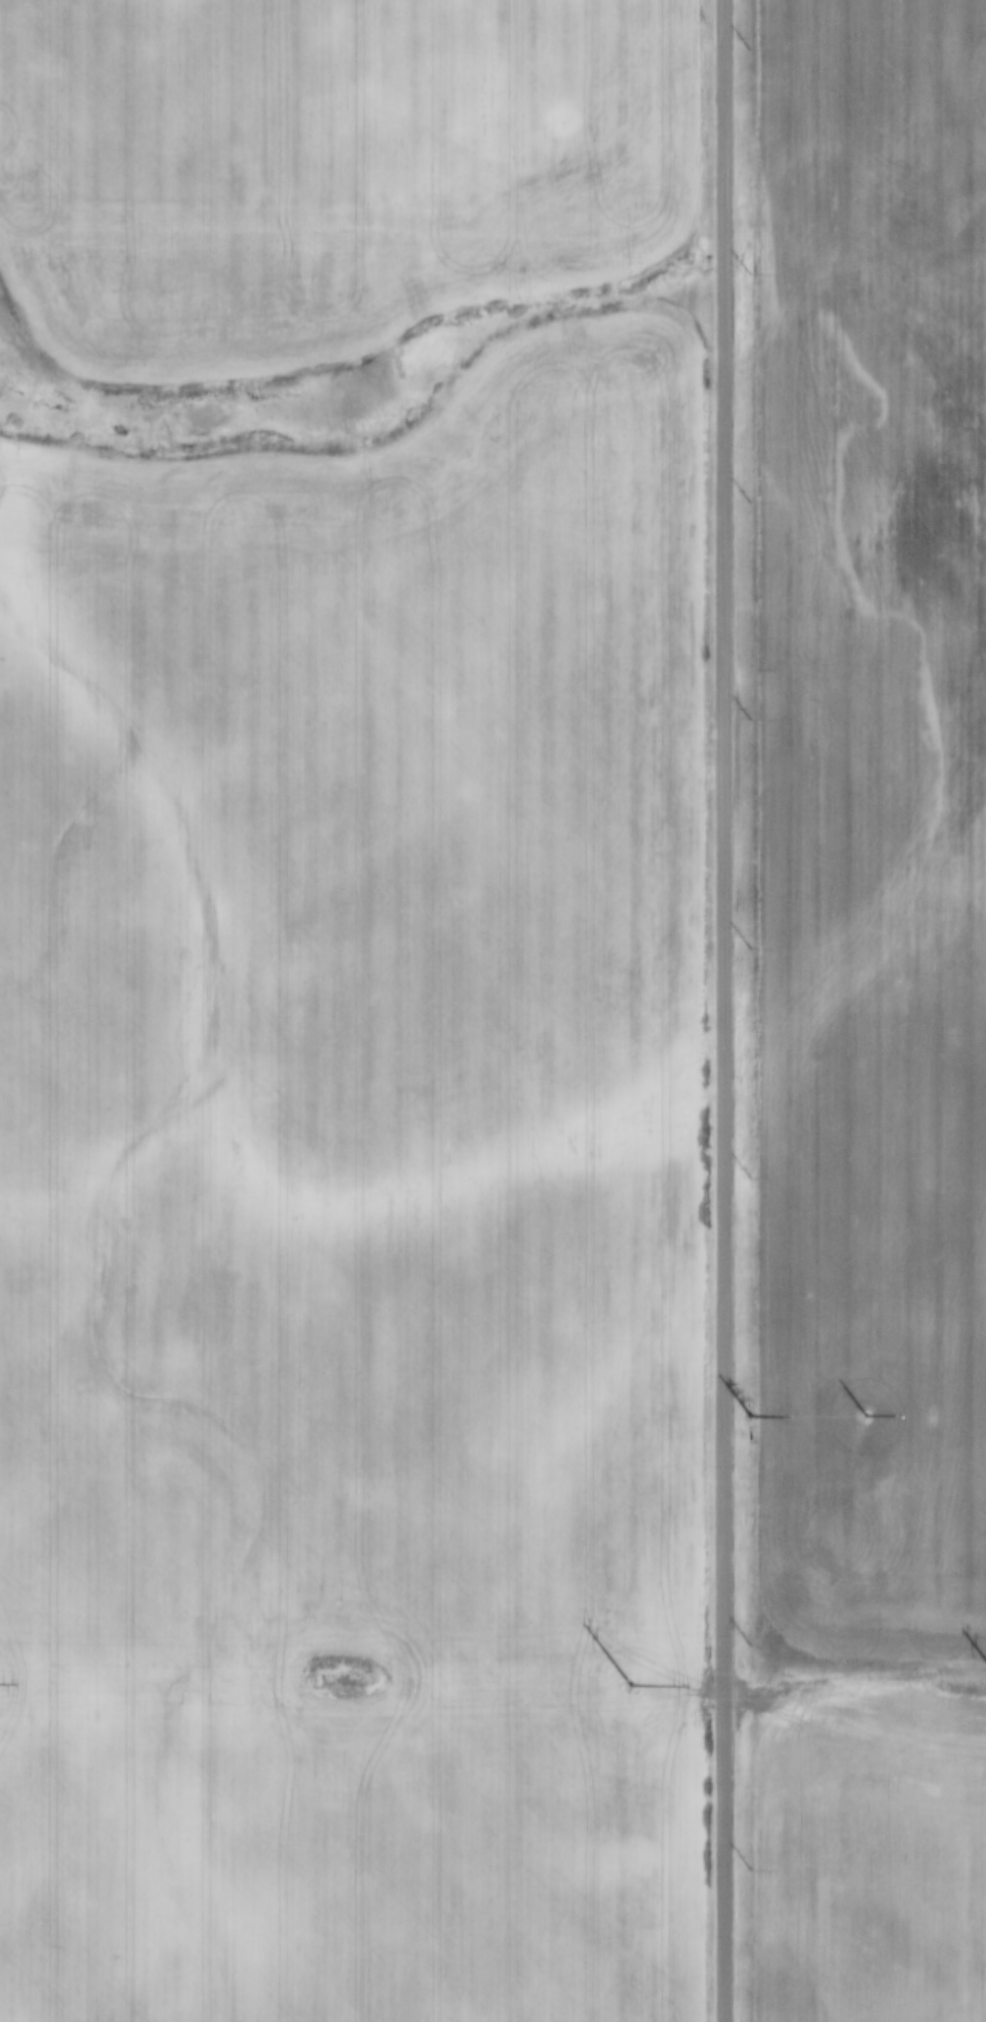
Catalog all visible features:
road: (723, 1010)
power tower: (628, 1684)

